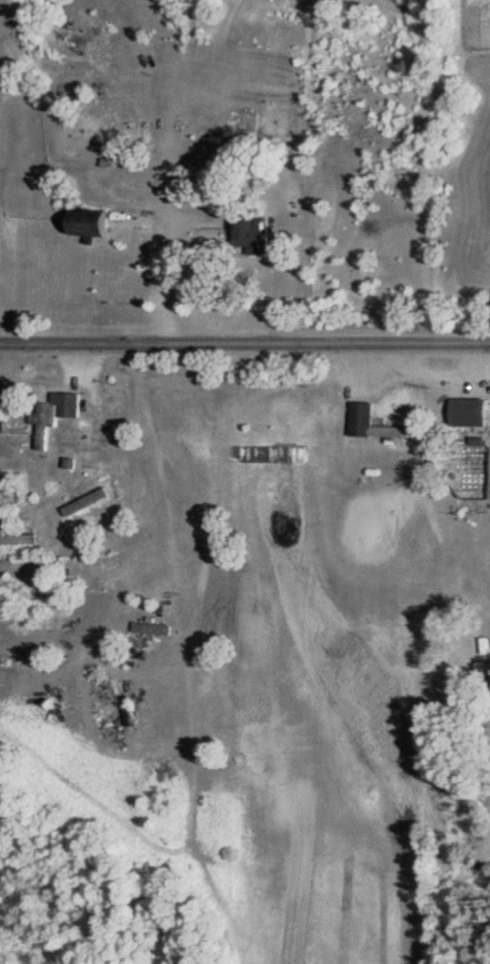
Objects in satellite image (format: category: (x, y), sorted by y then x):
building: (95, 225)
building: (257, 237)
road: (245, 345)
building: (473, 416)
building: (61, 418)
building: (376, 427)
building: (89, 505)
building: (9, 524)
building: (158, 524)

